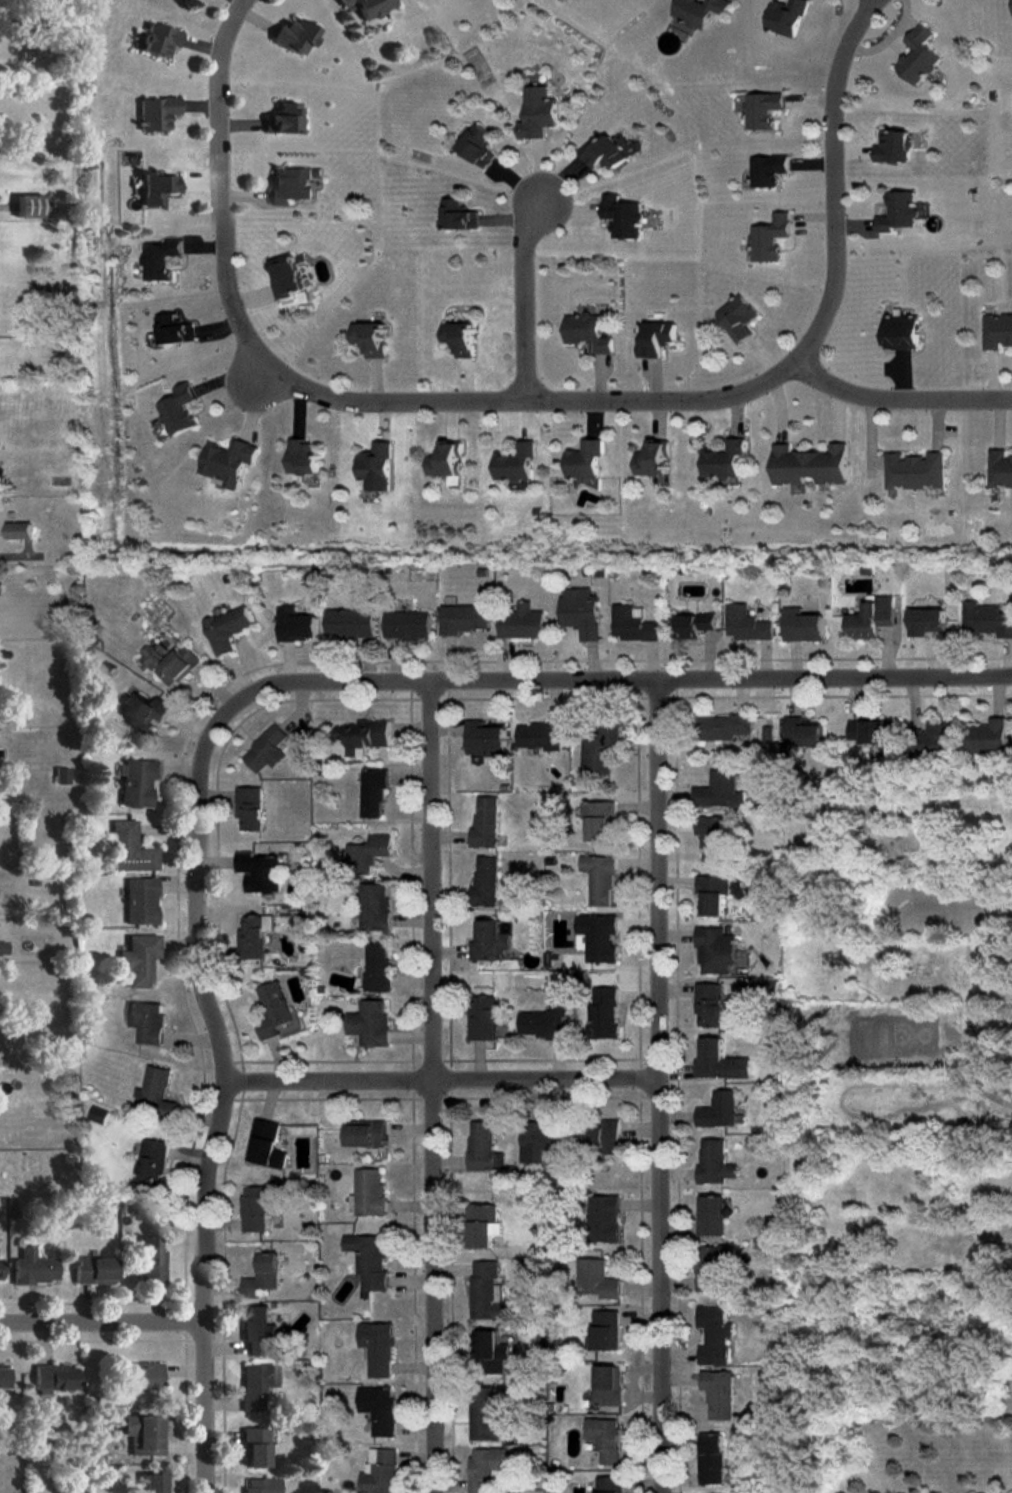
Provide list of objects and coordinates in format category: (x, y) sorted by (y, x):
building: (699, 11)
building: (785, 16)
building: (296, 35)
building: (161, 39)
building: (918, 56)
building: (762, 109)
building: (158, 112)
building: (537, 113)
building: (284, 118)
building: (478, 146)
building: (893, 147)
building: (605, 154)
building: (768, 170)
road: (833, 179)
building: (291, 184)
building: (158, 187)
building: (33, 205)
building: (898, 212)
building: (458, 215)
building: (621, 216)
building: (768, 238)
building: (159, 259)
road: (521, 295)
building: (736, 318)
building: (173, 330)
building: (997, 331)
building: (587, 332)
building: (901, 332)
building: (459, 338)
building: (369, 339)
building: (656, 339)
road: (899, 395)
road: (343, 397)
building: (177, 410)
building: (301, 458)
building: (653, 459)
building: (446, 460)
building: (583, 460)
building: (724, 460)
building: (227, 461)
building: (809, 466)
building: (375, 467)
building: (1000, 469)
building: (915, 470)
building: (18, 530)
road: (12, 556)
building: (580, 612)
building: (462, 618)
building: (871, 618)
building: (987, 619)
building: (926, 621)
building: (349, 622)
building: (521, 622)
building: (632, 624)
building: (746, 624)
building: (295, 625)
building: (406, 625)
building: (693, 625)
building: (802, 625)
building: (226, 628)
building: (169, 662)
road: (620, 681)
building: (144, 710)
building: (724, 728)
building: (769, 730)
building: (866, 731)
building: (802, 732)
building: (365, 735)
building: (540, 736)
building: (989, 736)
building: (484, 739)
building: (600, 747)
building: (266, 750)
building: (62, 774)
building: (138, 781)
building: (719, 791)
building: (372, 792)
building: (249, 808)
building: (598, 819)
building: (485, 823)
building: (710, 838)
building: (131, 848)
building: (369, 850)
building: (259, 872)
building: (599, 879)
building: (484, 880)
building: (712, 893)
building: (142, 900)
building: (374, 907)
building: (253, 936)
building: (597, 937)
building: (488, 941)
building: (3, 947)
building: (716, 951)
building: (140, 958)
building: (376, 967)
building: (769, 988)
building: (710, 1004)
building: (273, 1011)
building: (603, 1012)
building: (481, 1018)
building: (147, 1021)
building: (544, 1022)
building: (369, 1023)
building: (720, 1061)
road: (438, 1078)
road: (652, 1087)
building: (152, 1088)
road: (429, 1088)
road: (221, 1091)
building: (718, 1110)
building: (97, 1115)
building: (1011, 1127)
building: (365, 1133)
building: (599, 1136)
building: (540, 1140)
building: (265, 1144)
building: (483, 1147)
building: (714, 1162)
building: (151, 1163)
building: (367, 1193)
building: (258, 1205)
building: (711, 1216)
building: (602, 1218)
building: (481, 1225)
building: (152, 1259)
building: (369, 1260)
building: (710, 1265)
building: (34, 1267)
building: (0, 1269)
building: (94, 1270)
building: (262, 1276)
building: (596, 1279)
building: (486, 1292)
road: (99, 1319)
building: (605, 1330)
building: (259, 1331)
building: (714, 1335)
building: (377, 1348)
building: (489, 1351)
building: (3, 1376)
building: (142, 1376)
building: (55, 1377)
building: (257, 1384)
building: (608, 1385)
building: (718, 1394)
building: (378, 1409)
building: (484, 1416)
building: (145, 1434)
building: (604, 1438)
building: (256, 1447)
building: (711, 1458)
building: (486, 1468)
building: (379, 1472)
building: (155, 1483)
building: (608, 1484)
building: (261, 1485)

